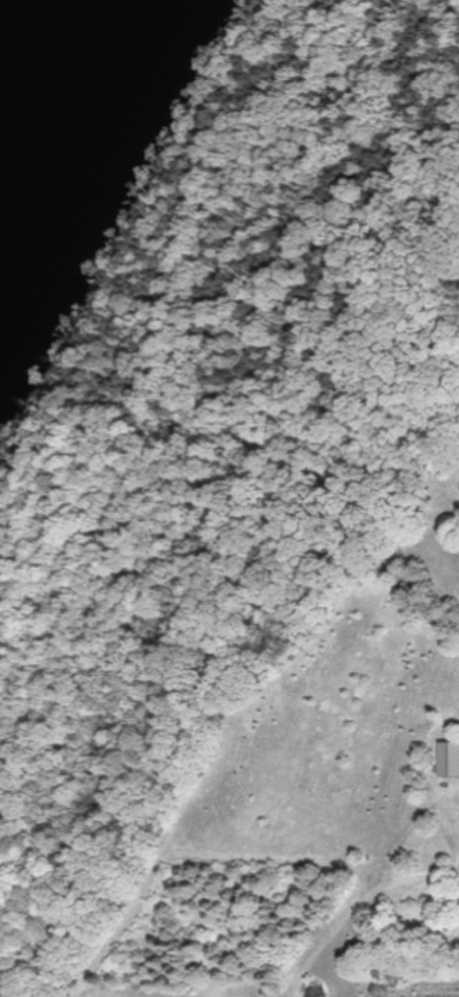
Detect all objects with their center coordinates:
building: (450, 759)
crop: (331, 822)

